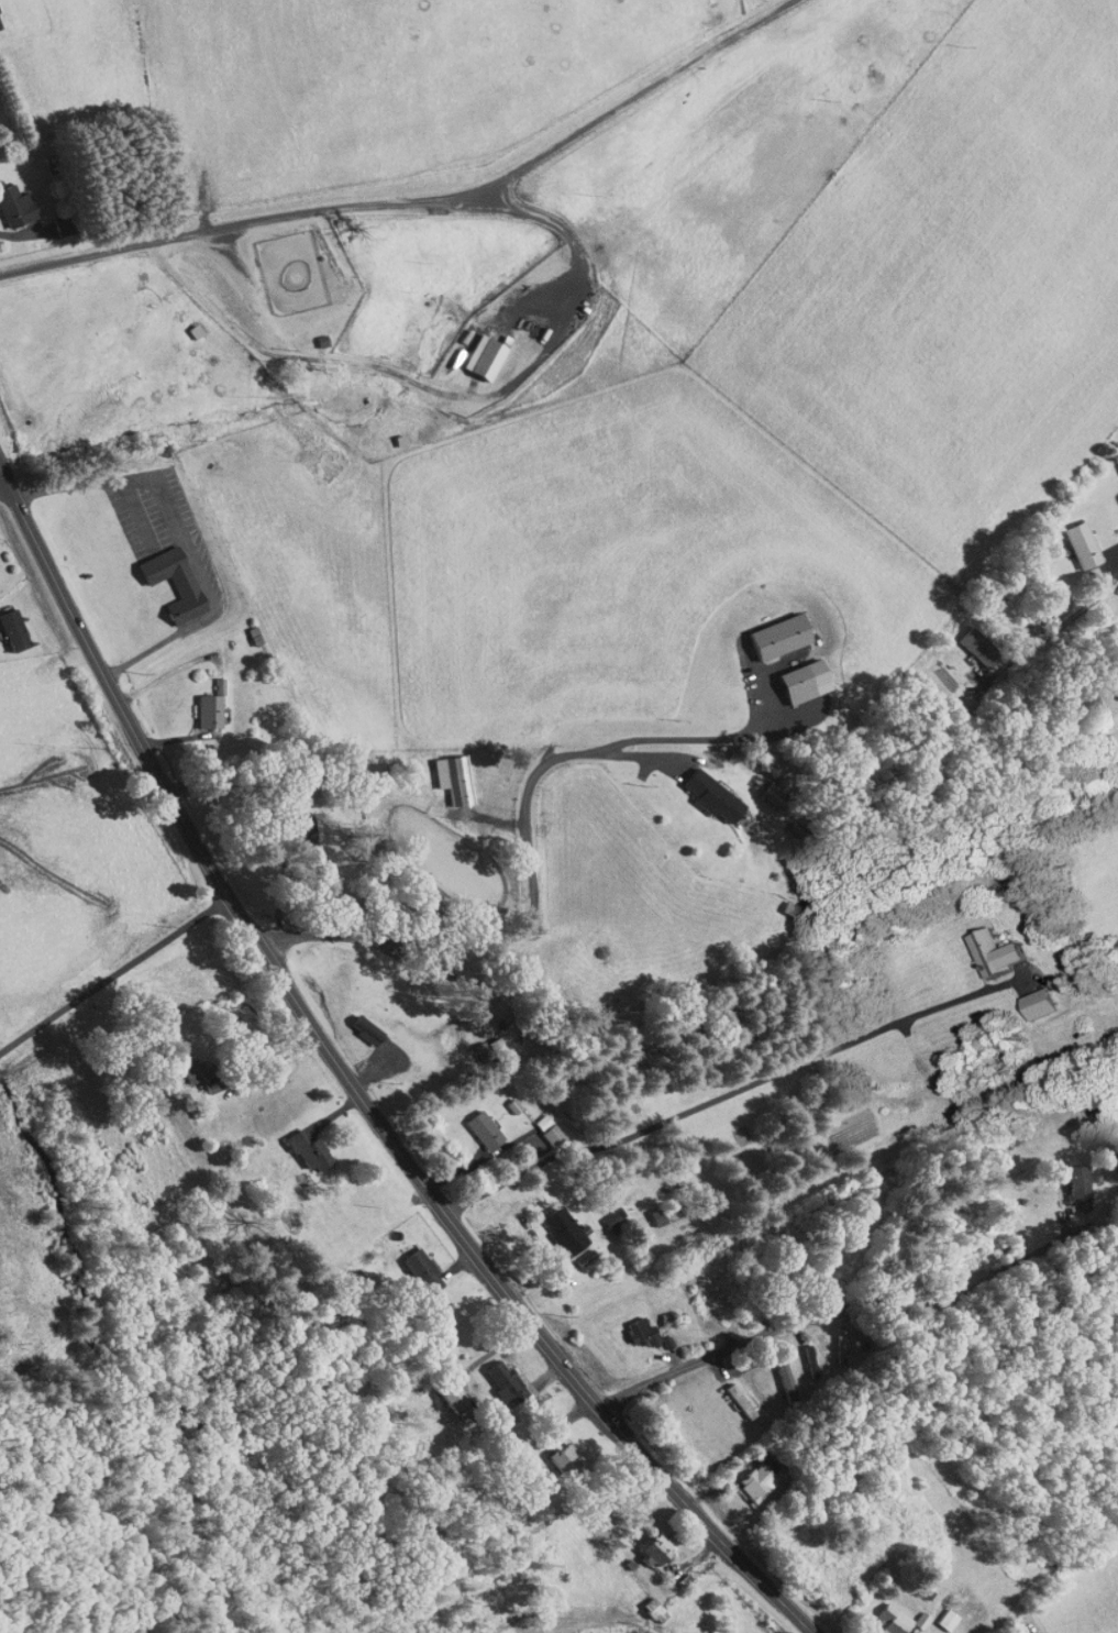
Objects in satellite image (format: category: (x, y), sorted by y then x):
road: (207, 306)
road: (3, 488)
road: (1059, 630)
road: (532, 915)
road: (114, 975)
road: (353, 1088)
road: (727, 1095)
road: (862, 1301)

